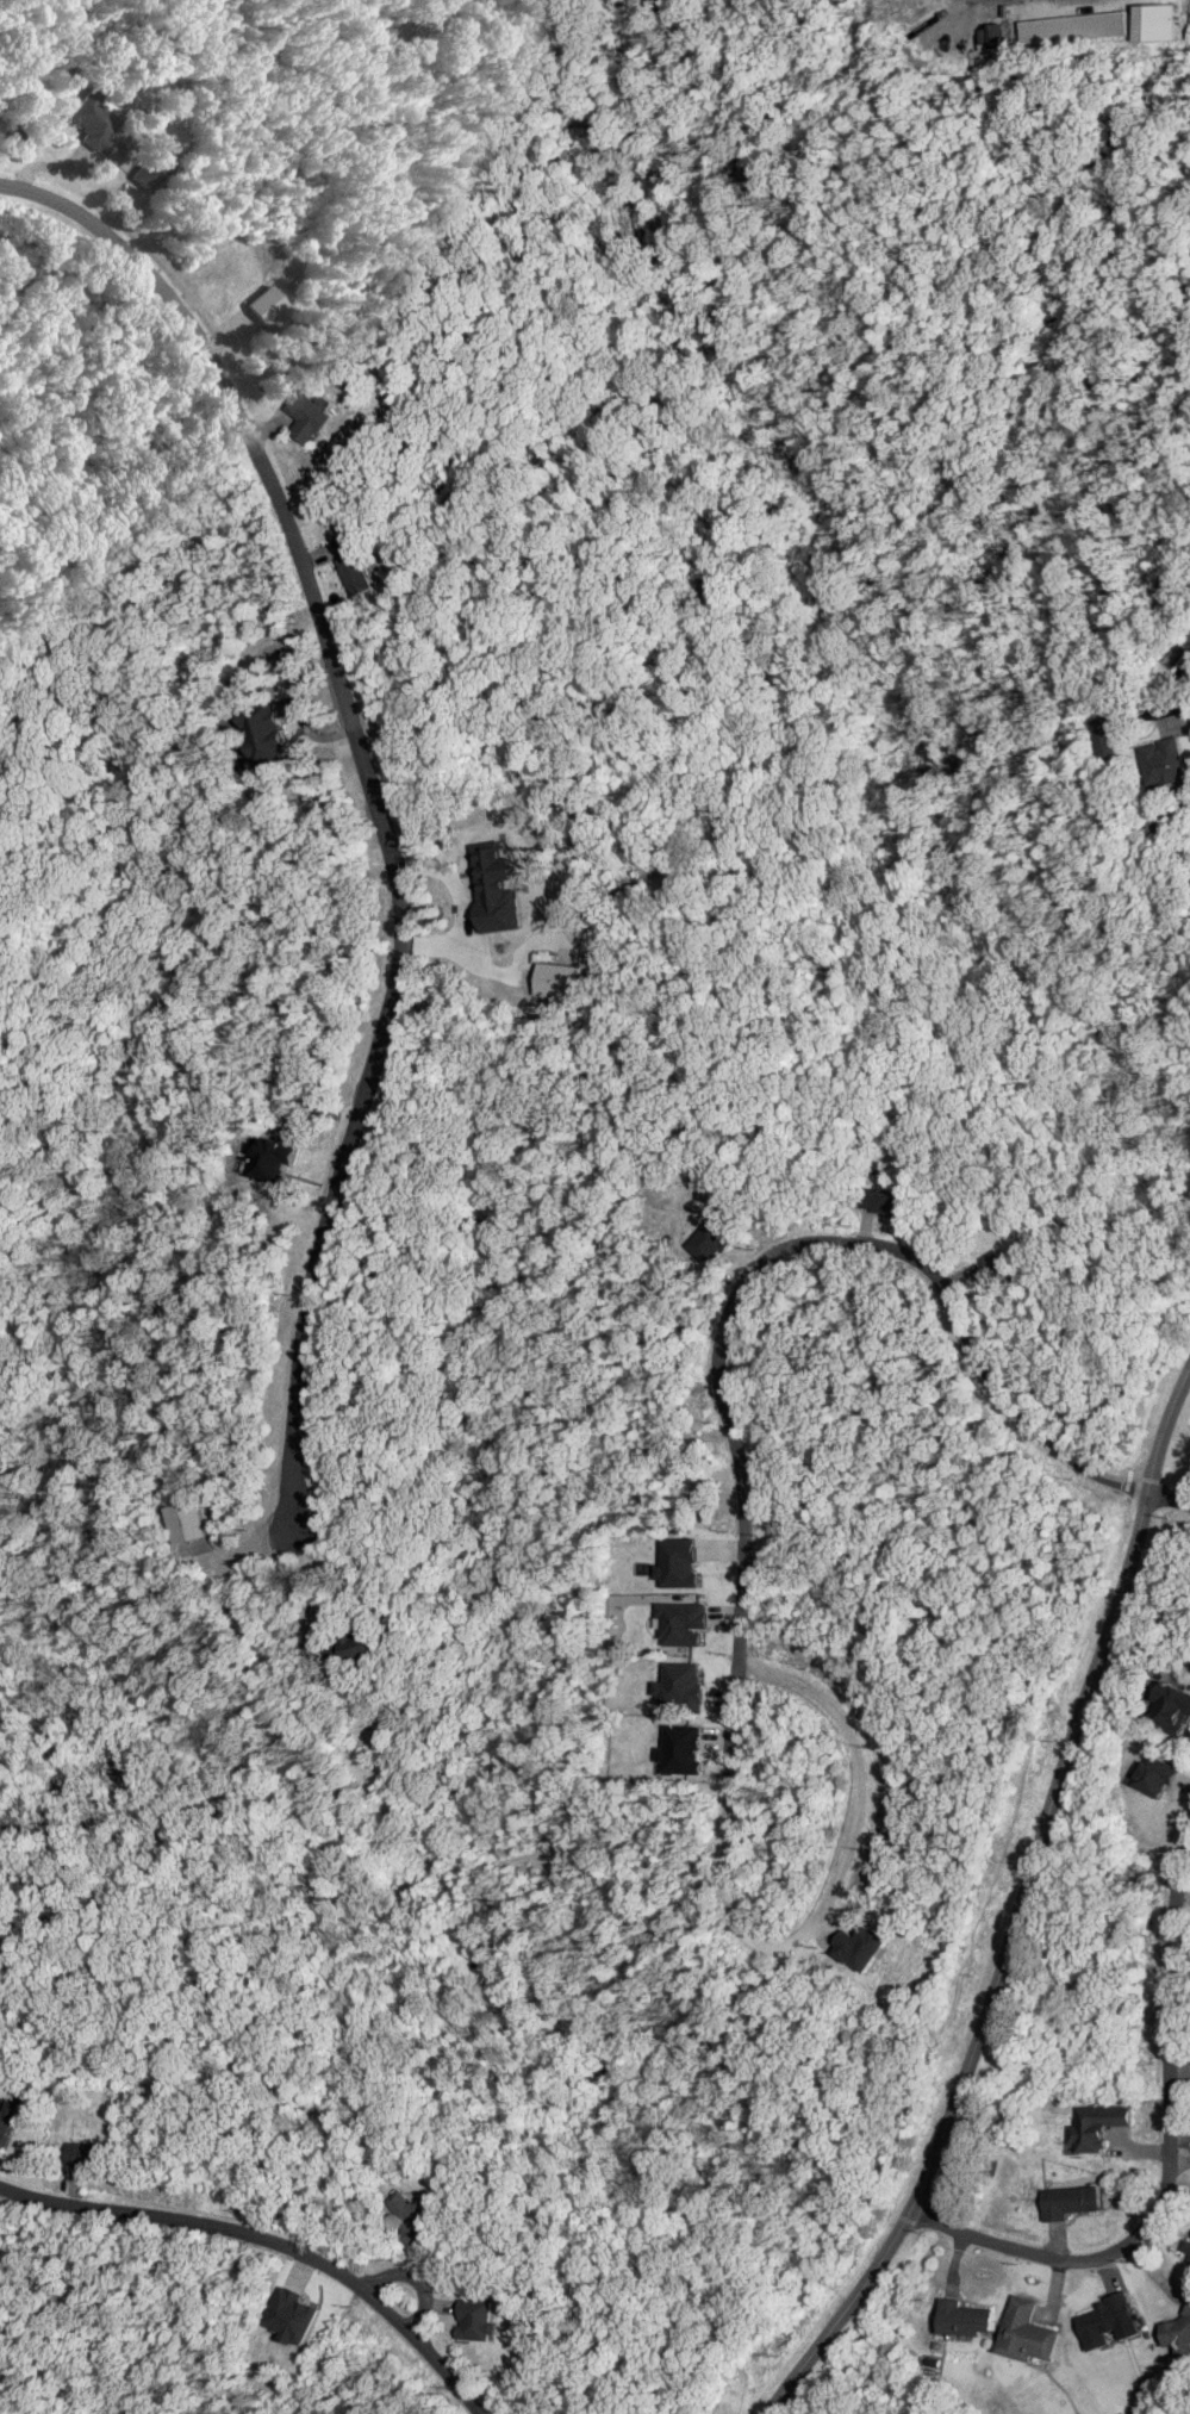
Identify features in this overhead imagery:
building: (1007, 11)
building: (1154, 21)
building: (1074, 27)
building: (1189, 32)
building: (996, 35)
building: (92, 122)
building: (150, 169)
building: (266, 304)
building: (306, 418)
building: (351, 565)
building: (264, 733)
building: (1103, 736)
building: (1164, 761)
road: (388, 854)
building: (494, 888)
building: (555, 979)
building: (272, 1159)
building: (884, 1202)
road: (824, 1248)
building: (992, 1270)
road: (1151, 1393)
road: (1127, 1479)
building: (186, 1522)
building: (677, 1562)
building: (681, 1623)
building: (365, 1645)
building: (680, 1685)
building: (1171, 1709)
building: (680, 1749)
building: (1152, 1775)
road: (1020, 1909)
road: (809, 1929)
road: (914, 2091)
building: (7, 2121)
building: (1096, 2124)
building: (87, 2154)
road: (1170, 2157)
road: (6, 2202)
building: (1068, 2202)
building: (412, 2219)
road: (270, 2240)
building: (1185, 2246)
road: (419, 2277)
building: (293, 2315)
building: (964, 2319)
building: (475, 2320)
building: (1104, 2320)
building: (1026, 2332)
building: (1178, 2332)
park: (861, 2378)
road: (182, 2408)

